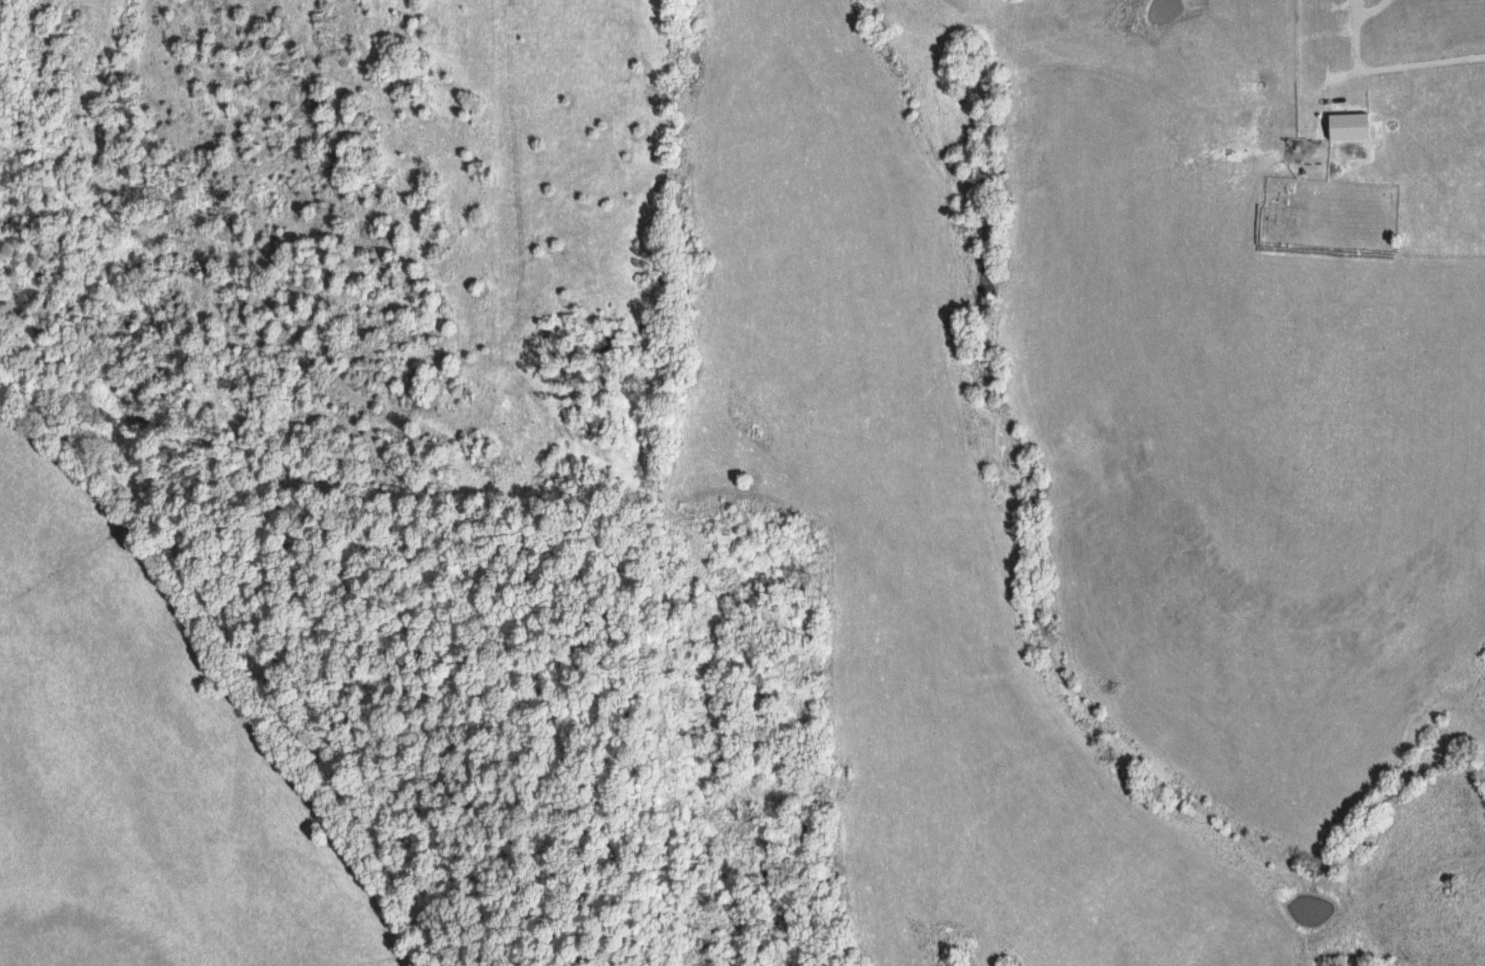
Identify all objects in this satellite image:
building: (1345, 126)
park: (1330, 213)

